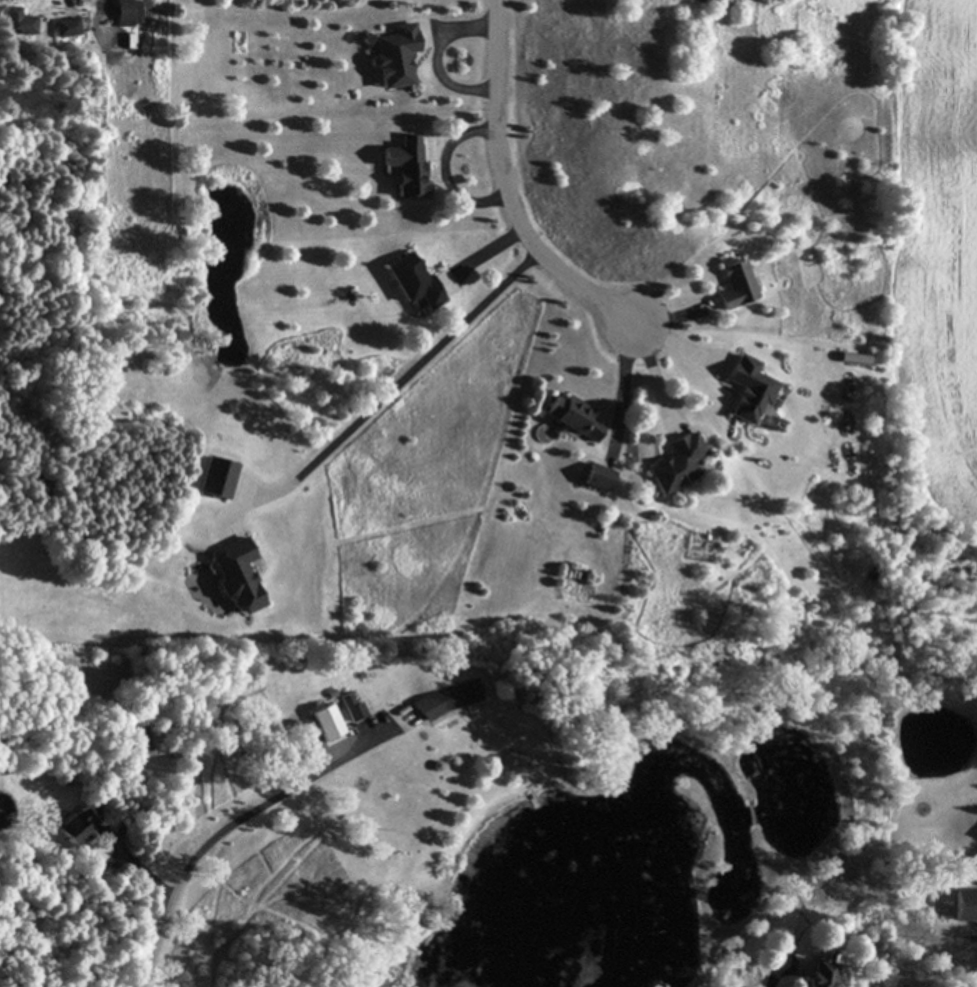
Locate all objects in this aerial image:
building: (126, 13)
building: (16, 23)
building: (65, 29)
building: (395, 57)
road: (442, 57)
building: (405, 167)
road: (447, 174)
road: (511, 188)
road: (495, 249)
building: (412, 283)
building: (736, 286)
road: (637, 324)
road: (630, 342)
road: (395, 386)
building: (748, 391)
building: (573, 419)
building: (677, 465)
building: (214, 479)
building: (598, 479)
building: (234, 577)
building: (448, 701)
building: (352, 710)
building: (325, 724)
building: (143, 745)
building: (77, 828)
road: (210, 843)
building: (965, 906)
road: (155, 942)
road: (777, 974)
building: (820, 974)

